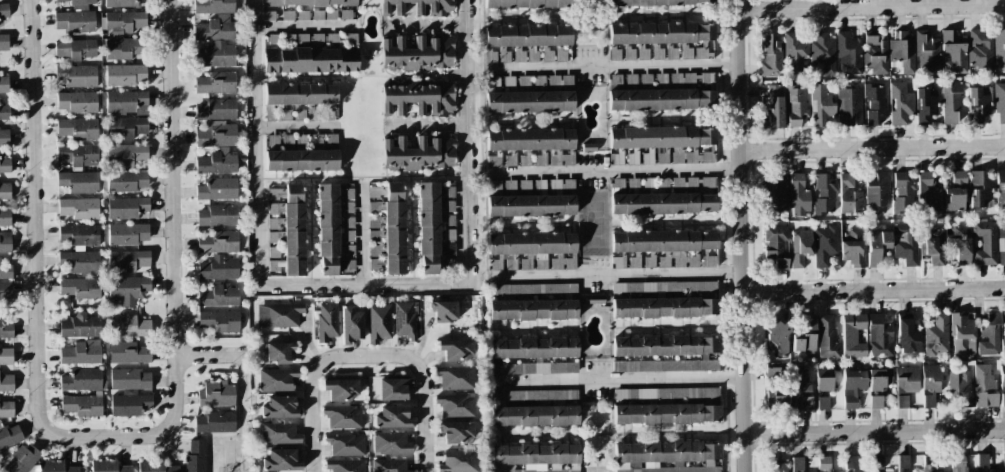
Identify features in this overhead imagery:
building: (654, 1)
building: (122, 3)
building: (306, 3)
building: (78, 4)
building: (211, 5)
building: (526, 5)
road: (872, 5)
building: (418, 7)
building: (4, 9)
building: (317, 14)
building: (331, 14)
building: (346, 14)
building: (269, 15)
building: (288, 15)
building: (302, 15)
building: (125, 20)
building: (76, 21)
road: (303, 24)
road: (426, 24)
building: (215, 29)
building: (289, 37)
building: (302, 37)
building: (316, 37)
building: (273, 38)
building: (332, 38)
building: (350, 38)
building: (660, 38)
building: (4, 42)
building: (525, 42)
building: (121, 48)
building: (999, 48)
building: (76, 49)
building: (797, 52)
building: (980, 52)
building: (823, 53)
building: (927, 53)
building: (415, 54)
building: (902, 54)
building: (953, 54)
building: (769, 55)
building: (848, 55)
building: (875, 55)
building: (214, 56)
building: (310, 59)
road: (612, 65)
building: (124, 73)
building: (77, 75)
building: (4, 83)
building: (216, 83)
building: (660, 92)
building: (301, 94)
building: (531, 94)
building: (418, 97)
building: (951, 101)
building: (77, 102)
building: (127, 102)
building: (900, 103)
building: (1000, 103)
building: (874, 104)
building: (978, 104)
building: (821, 105)
building: (925, 105)
building: (795, 106)
building: (849, 106)
building: (772, 108)
building: (215, 110)
building: (5, 112)
building: (270, 113)
building: (284, 113)
building: (298, 113)
building: (313, 113)
building: (327, 113)
road: (295, 123)
road: (426, 125)
building: (77, 127)
building: (127, 127)
building: (217, 135)
building: (4, 137)
road: (467, 140)
building: (331, 141)
building: (272, 142)
building: (287, 142)
building: (301, 142)
building: (316, 142)
road: (253, 143)
building: (665, 145)
building: (588, 147)
building: (529, 148)
road: (872, 148)
building: (422, 153)
building: (77, 154)
building: (127, 154)
building: (301, 160)
building: (218, 161)
building: (4, 165)
road: (615, 169)
building: (80, 181)
building: (126, 181)
building: (217, 189)
building: (980, 189)
building: (5, 190)
building: (930, 190)
building: (1000, 190)
building: (448, 191)
building: (955, 191)
building: (877, 192)
building: (800, 193)
building: (851, 193)
building: (773, 194)
building: (824, 195)
building: (903, 196)
building: (664, 197)
building: (534, 199)
building: (448, 206)
building: (79, 207)
building: (127, 208)
road: (174, 212)
building: (217, 215)
building: (5, 218)
building: (448, 220)
park: (593, 223)
building: (389, 224)
building: (427, 228)
building: (284, 230)
building: (333, 231)
building: (78, 234)
building: (128, 234)
road: (365, 234)
building: (448, 234)
road: (743, 235)
building: (5, 241)
building: (218, 242)
building: (985, 242)
building: (905, 243)
building: (961, 244)
building: (1001, 244)
building: (825, 245)
building: (932, 245)
building: (774, 246)
building: (877, 246)
building: (799, 247)
building: (669, 248)
building: (854, 249)
building: (449, 250)
building: (531, 250)
building: (128, 259)
building: (79, 262)
building: (449, 265)
building: (219, 267)
building: (6, 272)
road: (619, 274)
road: (35, 281)
road: (362, 283)
building: (80, 287)
building: (128, 288)
building: (664, 288)
building: (5, 289)
road: (874, 289)
building: (533, 291)
building: (219, 295)
building: (593, 299)
building: (663, 307)
building: (443, 309)
building: (533, 309)
building: (278, 314)
building: (1003, 319)
building: (219, 320)
building: (405, 320)
building: (327, 321)
building: (378, 321)
building: (350, 324)
building: (81, 325)
building: (130, 327)
building: (5, 332)
building: (962, 332)
building: (776, 335)
building: (989, 335)
building: (853, 336)
building: (879, 336)
building: (908, 336)
building: (937, 336)
building: (806, 338)
building: (827, 338)
building: (1002, 344)
building: (665, 346)
building: (456, 349)
building: (533, 349)
building: (279, 350)
building: (83, 352)
building: (128, 352)
building: (5, 356)
road: (211, 356)
road: (365, 361)
building: (665, 366)
building: (533, 369)
building: (773, 372)
building: (456, 377)
road: (619, 377)
building: (130, 378)
building: (801, 378)
building: (277, 379)
building: (879, 379)
building: (82, 380)
building: (7, 383)
building: (905, 384)
building: (930, 384)
building: (852, 387)
building: (960, 387)
building: (984, 387)
building: (395, 388)
building: (823, 388)
building: (341, 389)
building: (1002, 389)
building: (665, 393)
building: (217, 394)
building: (535, 396)
building: (875, 402)
building: (129, 404)
building: (455, 404)
building: (82, 405)
building: (280, 407)
building: (6, 408)
road: (239, 413)
building: (667, 414)
building: (342, 416)
building: (533, 416)
building: (392, 418)
building: (216, 421)
road: (875, 430)
building: (457, 431)
building: (280, 433)
building: (8, 434)
building: (391, 443)
building: (344, 444)
building: (668, 453)
building: (536, 454)
building: (195, 457)
building: (20, 458)
building: (281, 460)
building: (460, 461)
building: (876, 462)
building: (1003, 462)
building: (903, 463)
building: (958, 463)
building: (983, 463)
building: (798, 464)
building: (823, 464)
building: (851, 464)
building: (345, 465)
building: (390, 465)
building: (58, 466)
building: (777, 466)
building: (110, 467)
building: (155, 467)
building: (537, 470)
building: (674, 470)
building: (833, 471)

